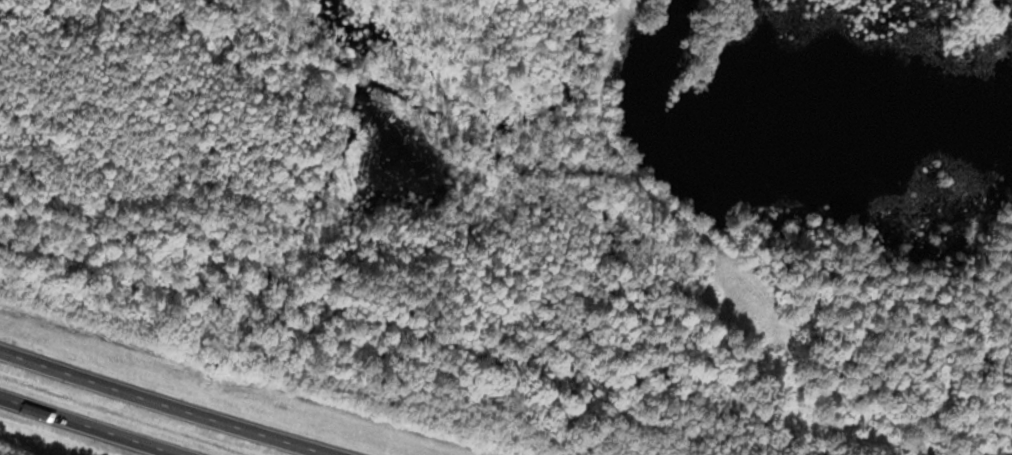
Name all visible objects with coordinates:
road: (195, 393)
road: (111, 420)

